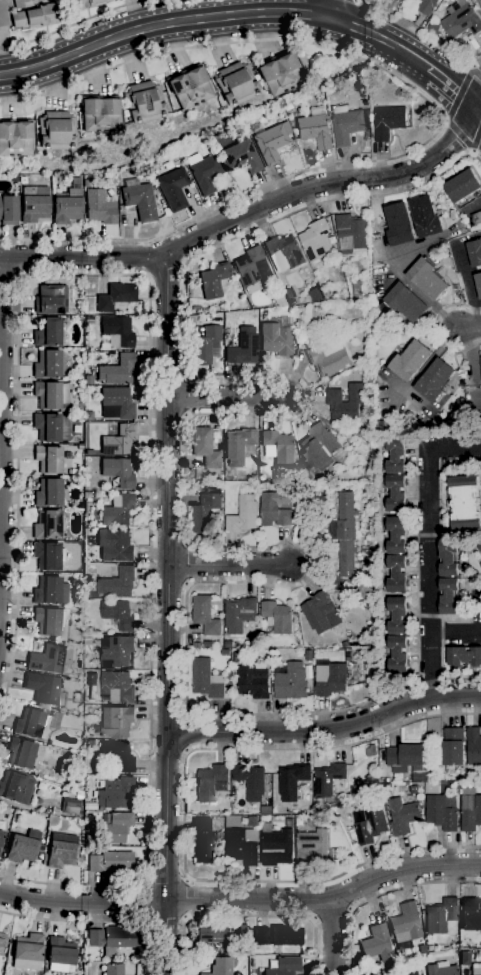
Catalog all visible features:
building: (22, 3)
building: (479, 3)
building: (86, 4)
building: (426, 6)
road: (334, 10)
building: (36, 16)
road: (207, 18)
building: (459, 19)
road: (311, 21)
road: (72, 24)
road: (347, 25)
road: (414, 27)
building: (432, 27)
road: (473, 60)
road: (475, 70)
building: (279, 74)
road: (442, 79)
building: (235, 84)
building: (189, 87)
road: (475, 92)
building: (144, 102)
road: (475, 110)
building: (99, 113)
road: (441, 118)
building: (388, 121)
building: (348, 125)
building: (315, 130)
building: (56, 131)
building: (15, 137)
road: (476, 141)
building: (271, 143)
road: (466, 143)
building: (243, 157)
building: (205, 171)
building: (24, 180)
building: (77, 181)
building: (462, 185)
road: (329, 188)
building: (174, 189)
building: (141, 201)
building: (35, 204)
building: (68, 207)
building: (100, 208)
building: (9, 210)
building: (425, 216)
building: (476, 217)
building: (398, 224)
building: (351, 232)
building: (316, 240)
building: (284, 250)
building: (474, 252)
road: (146, 257)
road: (82, 258)
building: (249, 269)
building: (427, 278)
building: (214, 280)
building: (478, 283)
building: (356, 288)
building: (315, 294)
building: (289, 295)
building: (116, 296)
building: (277, 297)
building: (51, 299)
building: (405, 302)
building: (77, 318)
road: (433, 327)
road: (468, 327)
building: (307, 328)
building: (119, 330)
building: (48, 332)
building: (277, 337)
building: (207, 346)
building: (244, 347)
building: (328, 358)
building: (409, 359)
building: (47, 364)
building: (480, 364)
road: (150, 368)
building: (117, 370)
building: (434, 379)
building: (51, 395)
road: (225, 395)
building: (333, 395)
building: (117, 403)
road: (2, 412)
building: (89, 416)
building: (47, 427)
building: (118, 440)
building: (238, 445)
building: (278, 446)
building: (318, 447)
building: (205, 448)
building: (359, 450)
building: (48, 459)
building: (361, 470)
building: (118, 472)
building: (228, 472)
building: (395, 472)
road: (185, 477)
building: (244, 487)
road: (167, 490)
building: (49, 493)
building: (464, 503)
building: (118, 510)
building: (273, 510)
building: (205, 511)
building: (243, 514)
building: (47, 525)
building: (87, 532)
building: (345, 542)
building: (479, 543)
building: (115, 545)
road: (428, 547)
building: (397, 554)
building: (48, 555)
building: (480, 563)
road: (228, 564)
building: (448, 576)
building: (117, 582)
building: (50, 591)
building: (88, 593)
building: (319, 611)
building: (118, 613)
building: (205, 615)
building: (240, 615)
building: (278, 616)
building: (51, 622)
road: (455, 630)
building: (397, 634)
building: (195, 644)
building: (228, 644)
building: (345, 644)
building: (116, 651)
building: (366, 651)
building: (464, 655)
building: (236, 656)
building: (51, 659)
building: (329, 677)
building: (91, 678)
building: (207, 680)
building: (253, 680)
building: (290, 680)
building: (117, 684)
building: (44, 689)
building: (75, 697)
building: (117, 721)
building: (36, 723)
road: (326, 728)
building: (95, 729)
road: (187, 732)
building: (91, 742)
building: (474, 745)
building: (454, 746)
building: (21, 752)
building: (117, 756)
building: (406, 758)
building: (328, 778)
building: (77, 780)
building: (250, 780)
building: (292, 780)
building: (211, 782)
building: (16, 787)
building: (116, 793)
building: (79, 796)
building: (70, 806)
building: (265, 810)
building: (470, 810)
building: (442, 811)
road: (184, 815)
building: (403, 815)
building: (299, 821)
building: (289, 822)
building: (370, 823)
building: (114, 827)
building: (1, 837)
building: (203, 841)
building: (276, 845)
building: (242, 846)
building: (311, 846)
building: (23, 847)
building: (60, 851)
road: (165, 852)
building: (334, 852)
building: (110, 862)
road: (381, 894)
road: (185, 898)
road: (326, 899)
road: (82, 902)
road: (146, 903)
building: (471, 914)
building: (441, 915)
road: (248, 917)
road: (99, 921)
building: (405, 926)
building: (221, 933)
building: (278, 936)
road: (333, 937)
building: (95, 938)
building: (2, 941)
building: (117, 941)
building: (377, 944)
building: (422, 949)
building: (28, 952)
building: (60, 954)
building: (464, 958)
building: (221, 966)
building: (284, 967)
building: (114, 969)
building: (440, 969)
building: (476, 969)
building: (409, 973)
building: (373, 974)

